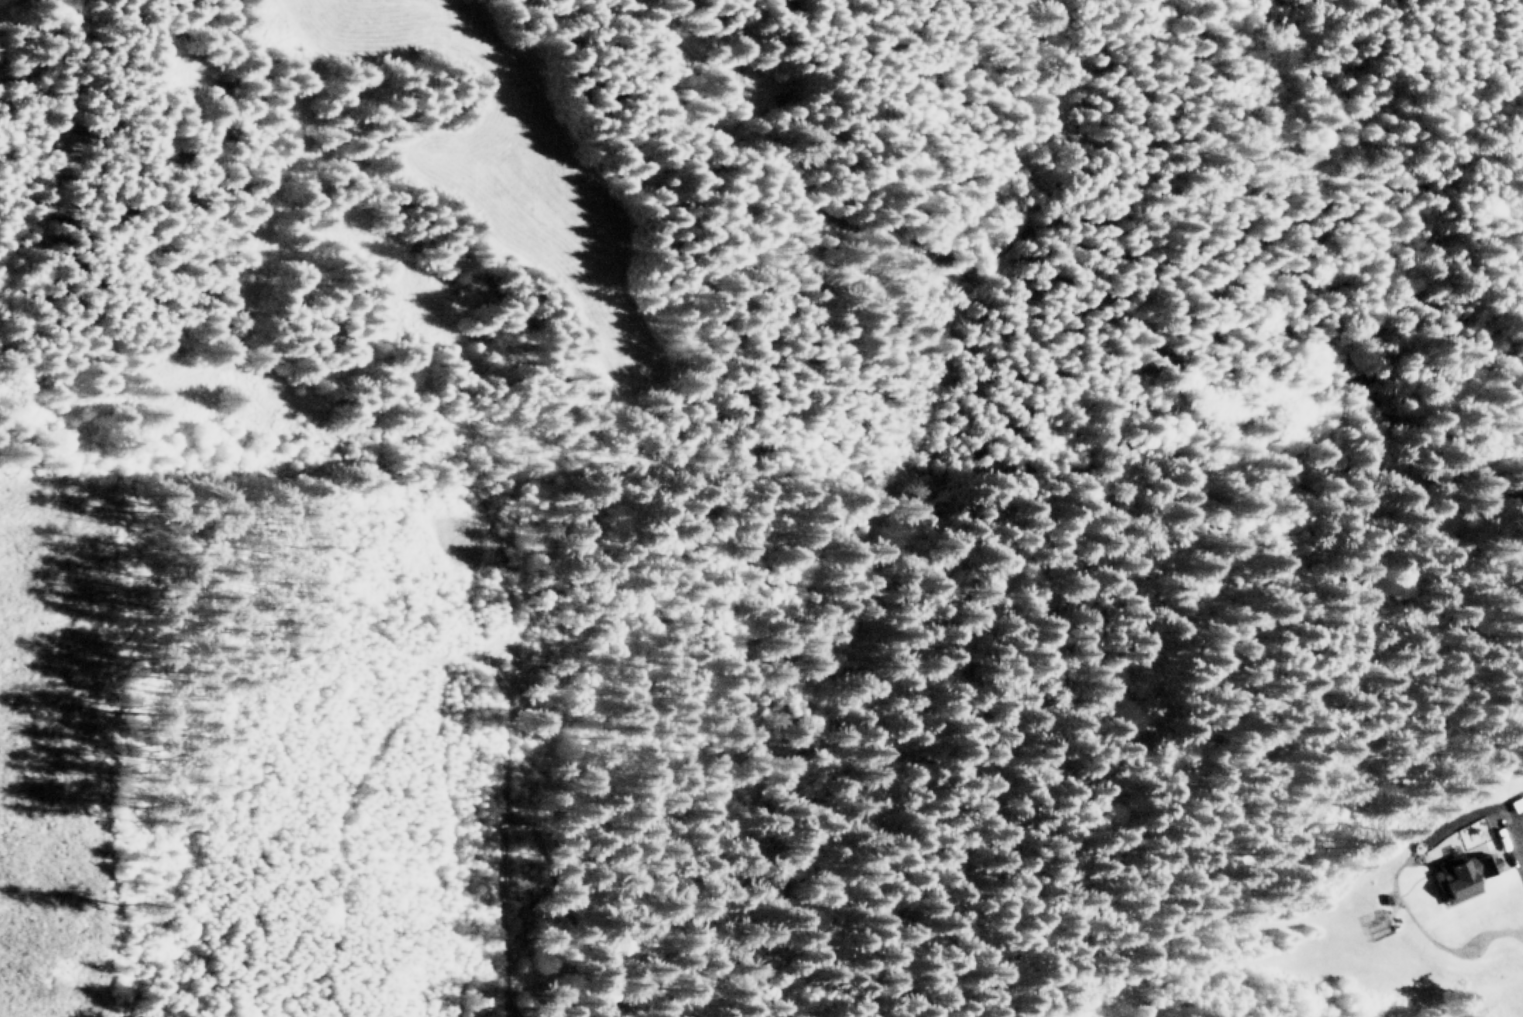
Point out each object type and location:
road: (1522, 839)

